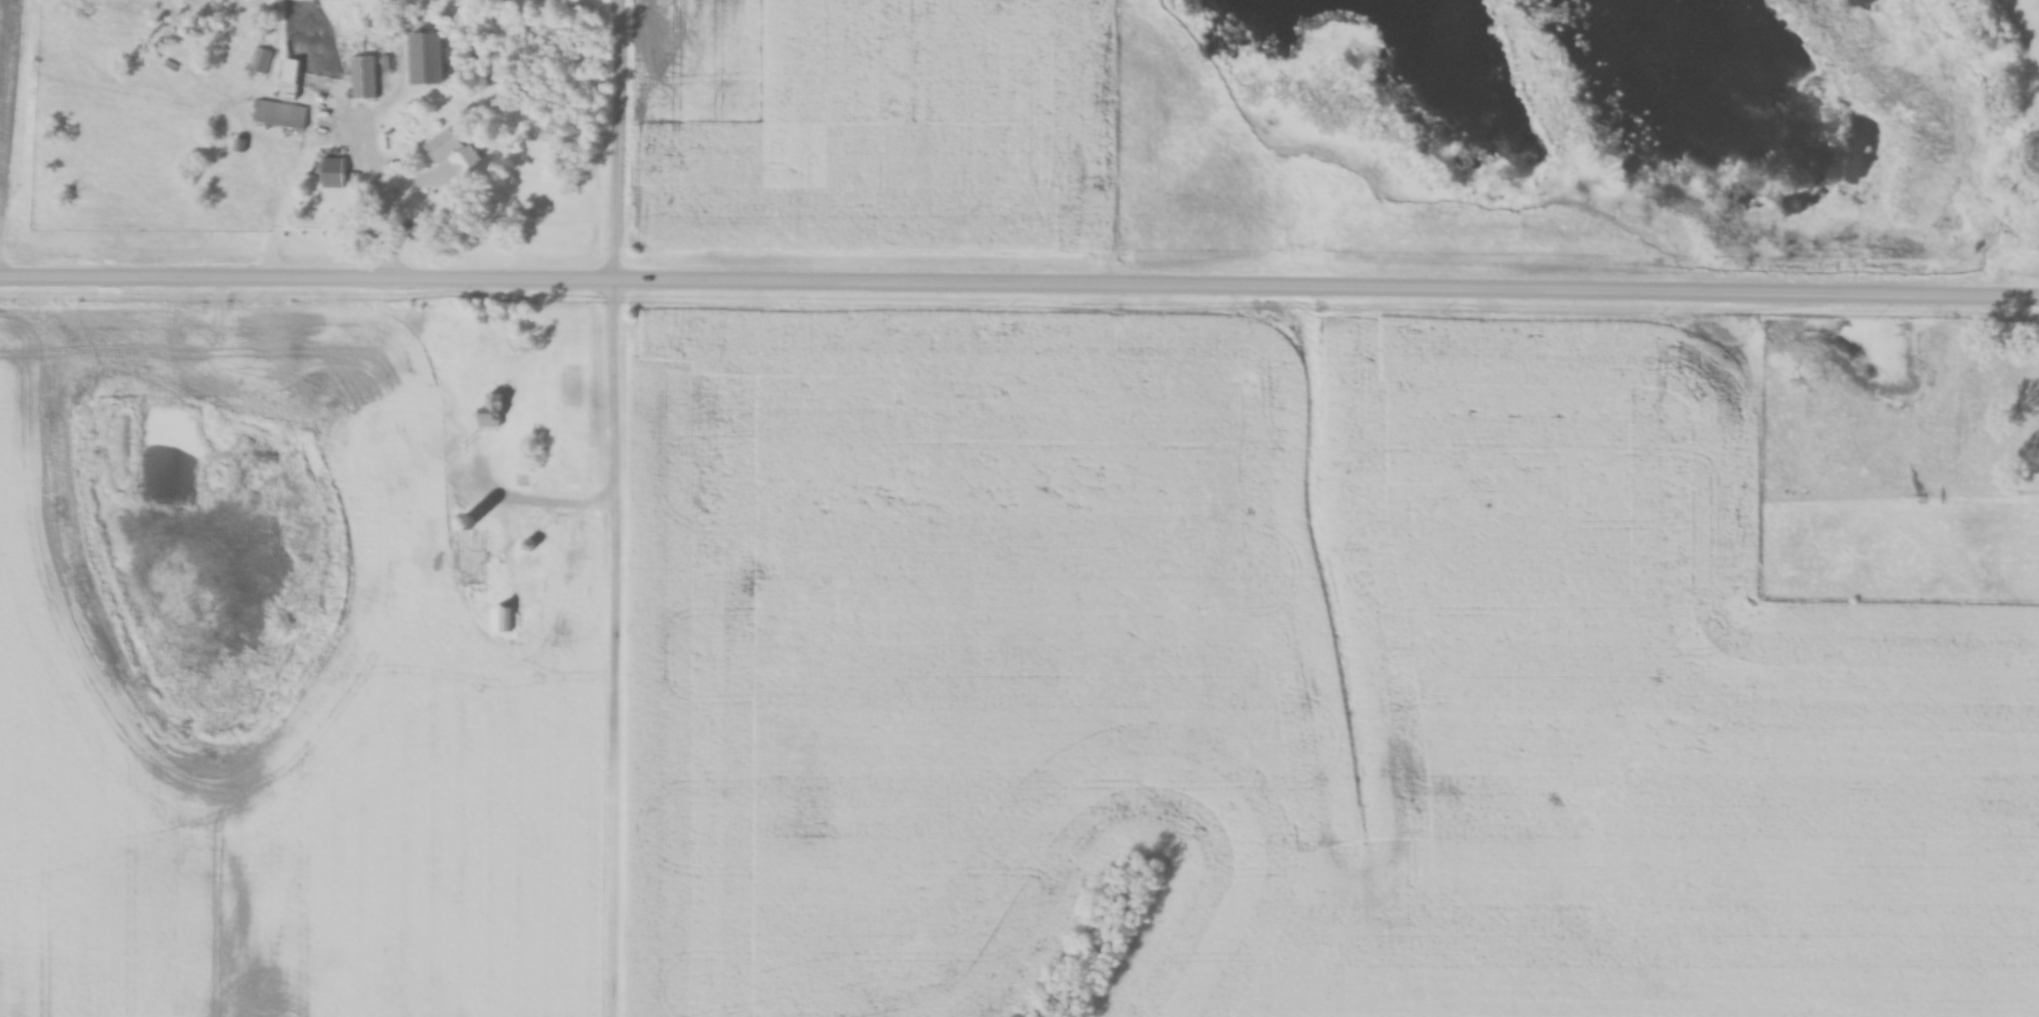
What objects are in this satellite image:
building: (427, 58)
building: (259, 61)
building: (361, 78)
building: (288, 80)
building: (279, 116)
building: (444, 147)
building: (332, 174)
road: (1019, 281)
building: (491, 413)
building: (432, 445)
road: (614, 508)

